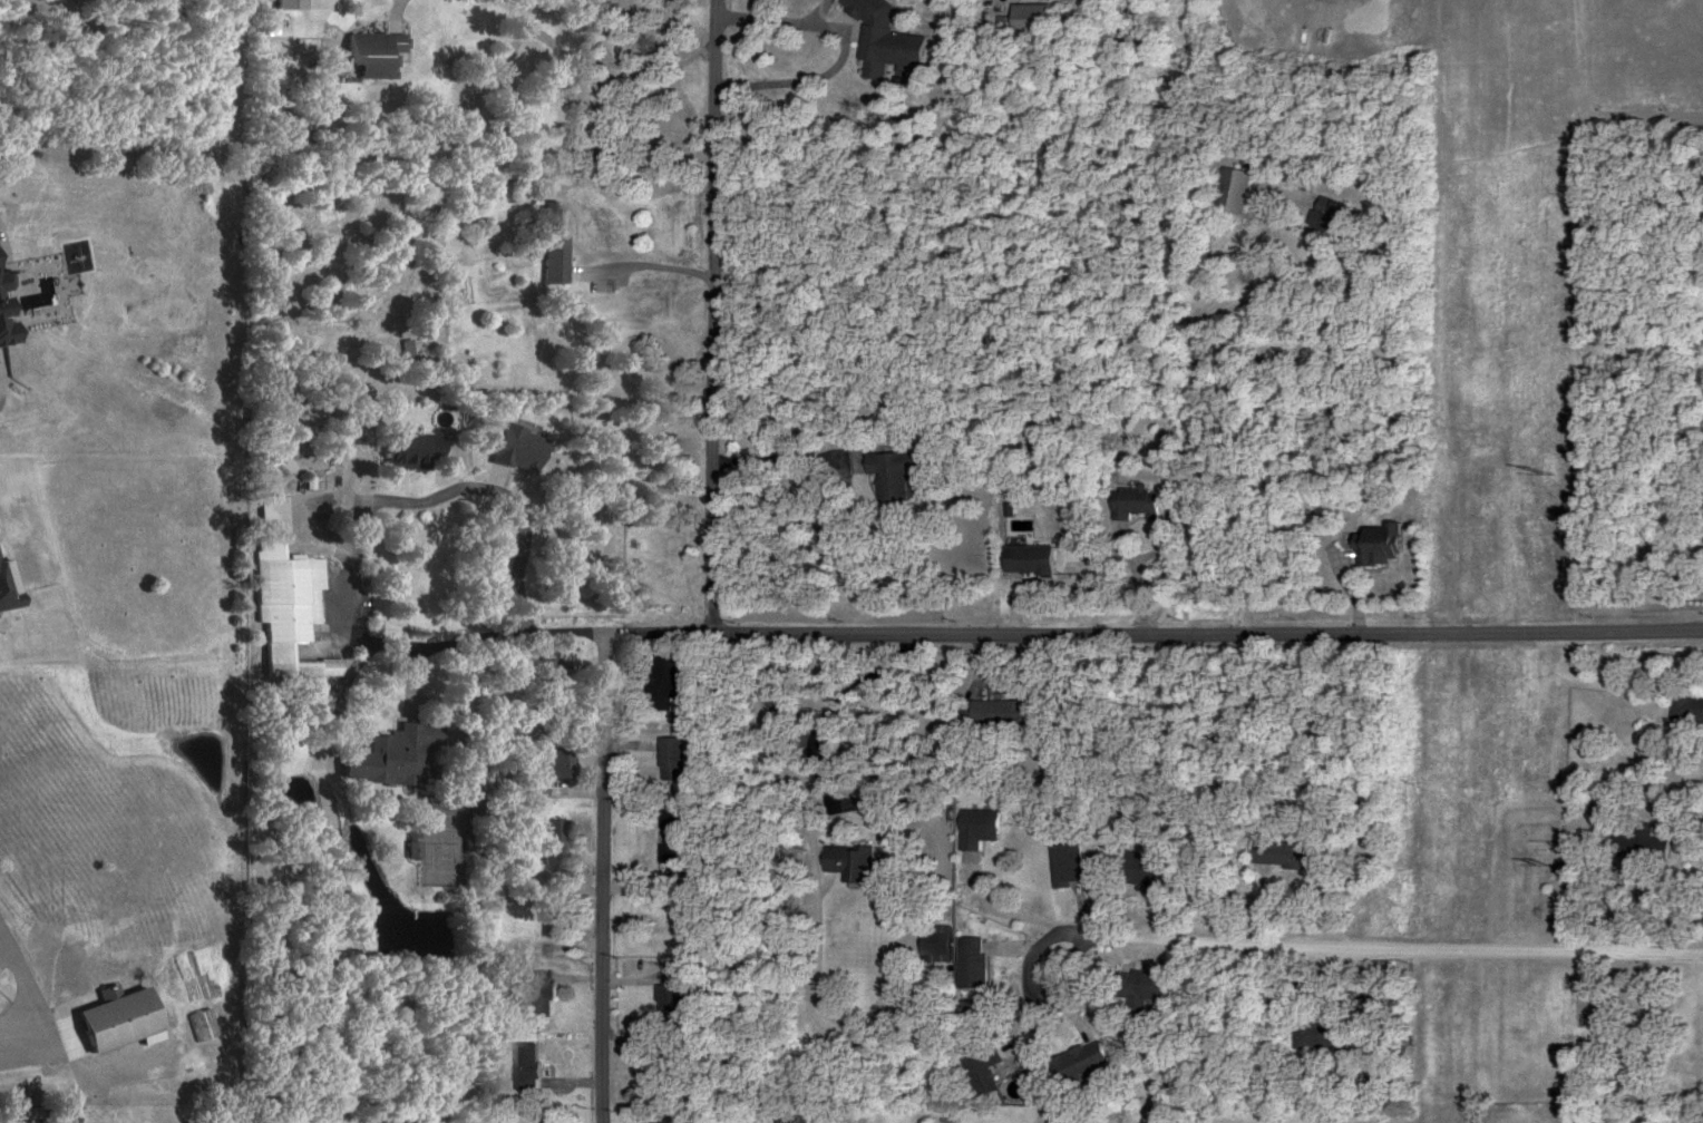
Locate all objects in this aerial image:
building: (1332, 4)
road: (396, 10)
road: (787, 25)
building: (999, 25)
building: (879, 35)
building: (377, 53)
building: (1227, 191)
building: (1322, 216)
building: (558, 242)
road: (643, 265)
building: (9, 307)
road: (717, 311)
road: (1443, 316)
building: (412, 452)
building: (887, 473)
building: (1132, 505)
building: (1702, 540)
building: (1375, 546)
building: (1024, 560)
building: (289, 597)
road: (1206, 633)
road: (605, 660)
building: (549, 683)
building: (668, 683)
building: (1684, 711)
building: (991, 714)
building: (396, 756)
building: (677, 760)
building: (563, 761)
road: (532, 787)
building: (529, 788)
building: (973, 829)
building: (680, 837)
building: (554, 842)
building: (1634, 843)
building: (1275, 855)
building: (844, 863)
building: (1071, 866)
building: (1145, 872)
building: (558, 914)
building: (930, 943)
road: (1316, 946)
road: (606, 955)
building: (966, 963)
building: (1137, 989)
building: (673, 999)
building: (125, 1021)
building: (1627, 1036)
building: (1074, 1062)
building: (535, 1066)
building: (979, 1070)
building: (51, 1122)

